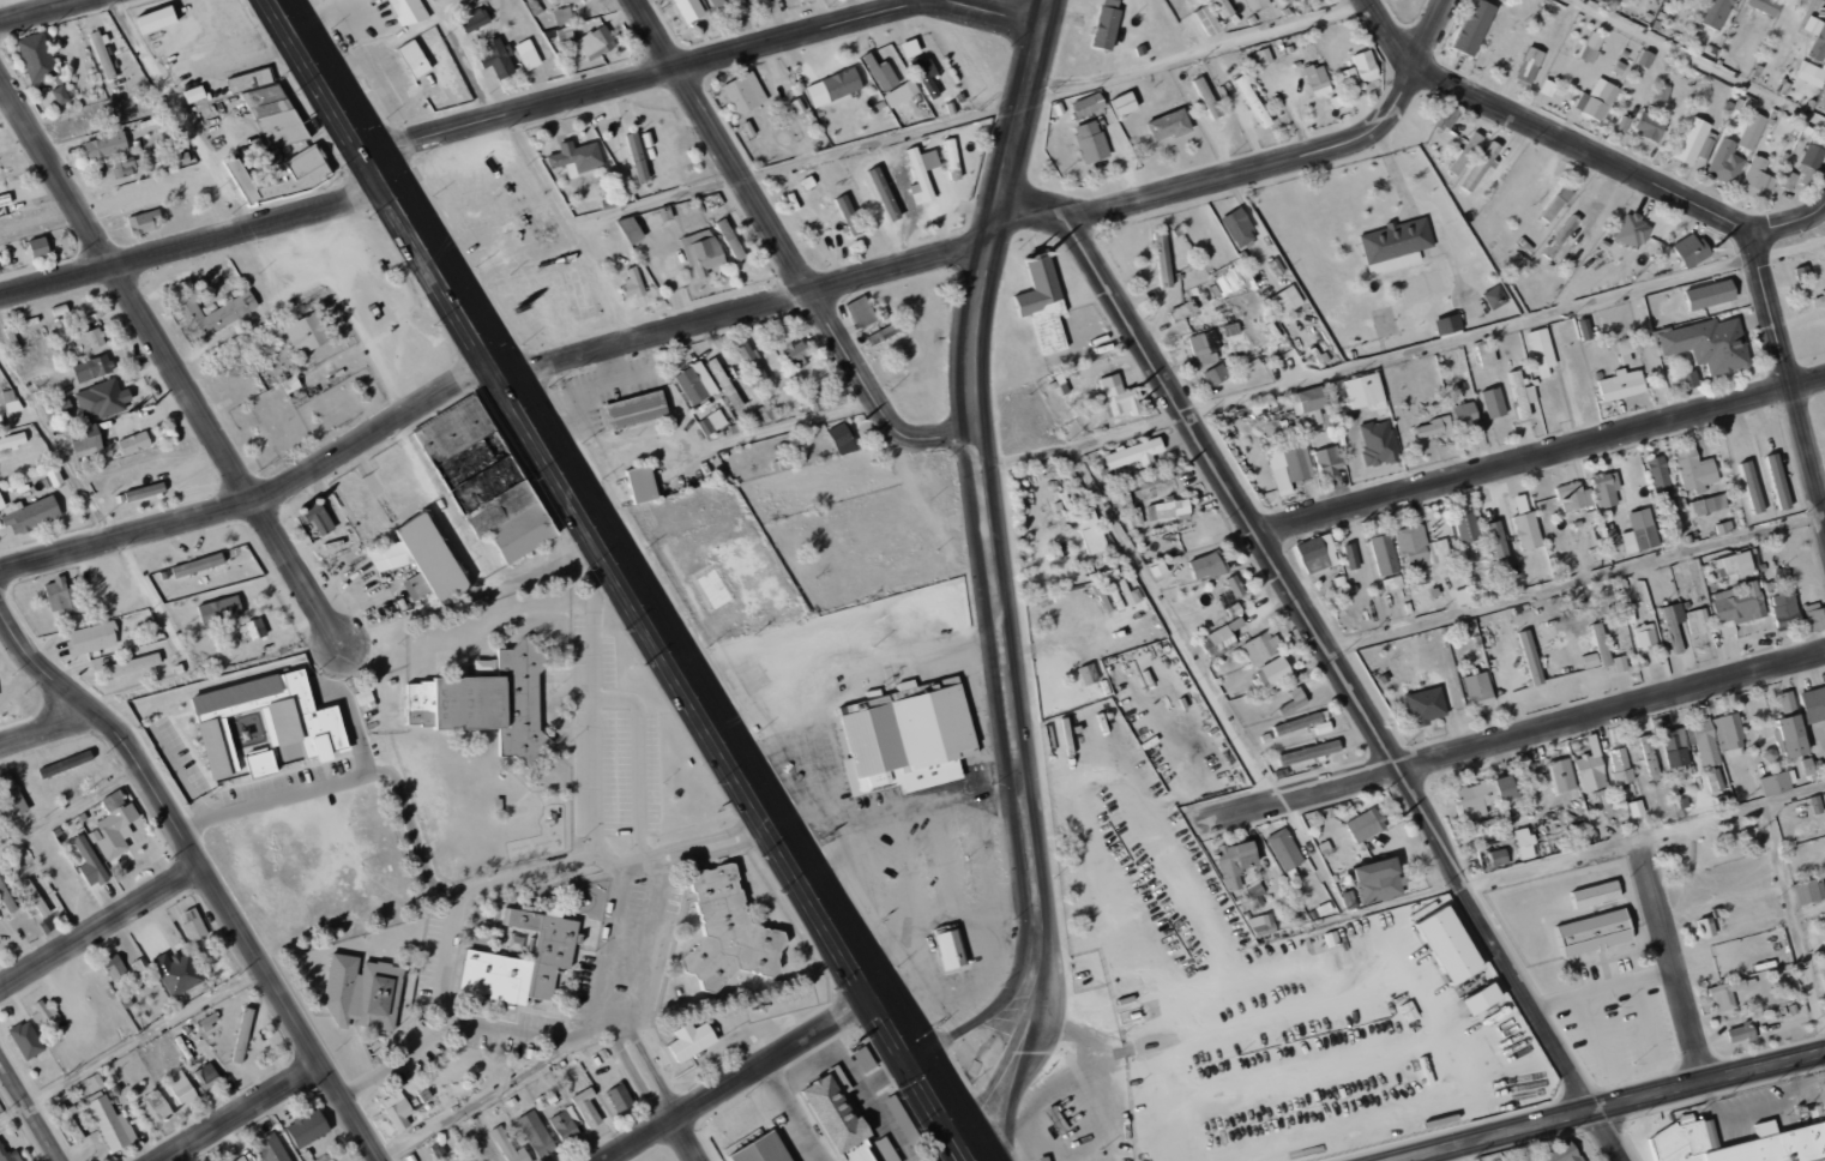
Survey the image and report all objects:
building: (751, 0)
building: (1697, 0)
building: (1257, 4)
building: (1765, 5)
building: (1222, 7)
road: (995, 8)
building: (687, 10)
road: (41, 11)
building: (405, 12)
building: (1715, 13)
building: (564, 16)
building: (156, 19)
building: (476, 19)
building: (1206, 19)
building: (1107, 26)
building: (1475, 26)
road: (1436, 32)
building: (565, 35)
building: (1817, 37)
building: (596, 42)
building: (1591, 47)
building: (910, 48)
building: (102, 54)
building: (1264, 55)
building: (37, 56)
building: (496, 58)
building: (414, 59)
building: (530, 59)
building: (1646, 59)
building: (1366, 65)
building: (1529, 66)
building: (881, 73)
building: (1811, 73)
road: (649, 76)
building: (926, 76)
building: (1348, 76)
building: (1318, 79)
building: (249, 80)
building: (833, 86)
building: (1548, 88)
building: (1662, 91)
building: (743, 92)
building: (901, 92)
building: (60, 95)
building: (1206, 97)
building: (1596, 100)
building: (1253, 101)
building: (1823, 101)
building: (1125, 102)
building: (1089, 103)
building: (275, 119)
building: (1168, 125)
building: (1649, 126)
building: (1751, 131)
building: (1090, 140)
building: (1693, 140)
building: (106, 145)
building: (1465, 152)
building: (1814, 152)
building: (637, 156)
building: (576, 157)
building: (179, 160)
building: (1724, 162)
building: (1482, 166)
building: (125, 167)
building: (920, 174)
building: (1757, 176)
road: (1229, 178)
building: (1789, 180)
building: (293, 184)
building: (139, 192)
building: (884, 192)
road: (1676, 195)
building: (5, 201)
building: (1556, 204)
building: (848, 213)
road: (1790, 221)
building: (145, 222)
building: (1239, 227)
building: (631, 228)
building: (1633, 230)
building: (1561, 236)
building: (730, 239)
road: (197, 243)
building: (1395, 245)
building: (38, 247)
building: (1693, 249)
building: (703, 252)
road: (784, 252)
building: (1163, 258)
building: (1801, 271)
building: (1228, 282)
building: (632, 283)
building: (1709, 294)
building: (1495, 296)
building: (1285, 300)
building: (1043, 302)
road: (749, 308)
building: (211, 311)
building: (861, 312)
building: (1186, 314)
building: (1384, 321)
building: (1447, 325)
building: (306, 331)
building: (883, 333)
building: (89, 339)
building: (1709, 343)
building: (1203, 348)
building: (1625, 349)
building: (1541, 350)
building: (1487, 353)
building: (797, 355)
road: (171, 361)
building: (752, 363)
building: (92, 367)
building: (1216, 374)
building: (693, 381)
building: (724, 383)
building: (1622, 384)
building: (1366, 390)
building: (1523, 393)
building: (1120, 396)
building: (10, 399)
building: (101, 399)
building: (1494, 402)
building: (64, 404)
building: (1309, 405)
building: (634, 410)
building: (1465, 414)
building: (712, 422)
building: (1434, 426)
building: (843, 438)
building: (12, 440)
building: (86, 440)
building: (134, 441)
building: (1378, 443)
building: (1134, 452)
road: (1541, 455)
building: (1327, 461)
building: (1288, 468)
building: (1693, 469)
road: (983, 473)
building: (1657, 474)
building: (1155, 477)
building: (486, 480)
building: (1778, 480)
building: (642, 483)
building: (1751, 486)
building: (1606, 488)
building: (145, 491)
building: (1574, 495)
road: (580, 498)
road: (263, 499)
building: (1520, 504)
building: (1707, 504)
building: (1169, 509)
building: (30, 513)
building: (318, 518)
building: (1133, 521)
building: (1466, 527)
building: (1090, 530)
building: (1526, 530)
building: (1639, 531)
building: (1420, 547)
building: (1499, 549)
building: (1317, 553)
building: (1384, 553)
building: (1350, 555)
building: (421, 559)
building: (198, 564)
building: (1733, 564)
building: (1207, 565)
building: (1781, 575)
building: (1235, 584)
building: (711, 590)
building: (64, 595)
building: (1737, 606)
building: (219, 609)
building: (1796, 612)
building: (1698, 620)
building: (1674, 626)
building: (255, 627)
building: (1645, 634)
building: (1225, 636)
building: (91, 637)
building: (1601, 643)
building: (1260, 646)
building: (1531, 656)
building: (132, 664)
building: (1273, 672)
building: (1086, 674)
road: (1350, 684)
building: (1478, 690)
building: (489, 700)
road: (626, 700)
building: (1294, 700)
building: (1813, 704)
building: (1426, 705)
building: (1297, 723)
building: (265, 724)
building: (1323, 727)
building: (1790, 728)
road: (47, 729)
building: (1728, 734)
building: (908, 736)
road: (1518, 736)
building: (1705, 741)
building: (1674, 748)
building: (1309, 752)
building: (1649, 756)
building: (65, 764)
building: (1619, 765)
building: (1559, 769)
building: (1590, 771)
building: (1713, 780)
building: (1777, 783)
road: (308, 789)
building: (12, 795)
building: (1484, 795)
building: (1815, 804)
building: (1619, 805)
road: (71, 810)
building: (115, 823)
building: (1365, 824)
road: (1646, 834)
building: (1524, 842)
building: (1284, 849)
building: (1498, 856)
road: (615, 860)
building: (89, 862)
road: (655, 862)
building: (1235, 862)
road: (203, 872)
building: (1379, 879)
building: (1809, 891)
building: (1255, 892)
road: (462, 895)
building: (6, 897)
building: (35, 897)
building: (1349, 900)
road: (97, 924)
building: (193, 924)
building: (1261, 925)
building: (1706, 926)
road: (615, 931)
building: (1821, 931)
building: (728, 932)
building: (1595, 932)
building: (1450, 945)
building: (950, 949)
building: (523, 958)
road: (1672, 961)
building: (114, 967)
building: (177, 971)
building: (363, 993)
building: (1725, 994)
building: (1482, 998)
building: (1824, 1001)
road: (986, 1015)
building: (209, 1022)
building: (1740, 1033)
building: (26, 1039)
building: (692, 1040)
road: (131, 1043)
road: (1019, 1051)
traffic signals: (918, 1060)
building: (205, 1073)
road: (745, 1078)
road: (930, 1078)
road: (655, 1085)
building: (180, 1090)
building: (619, 1097)
building: (586, 1107)
road: (1615, 1107)
building: (152, 1108)
road: (1757, 1109)
building: (397, 1111)
road: (239, 1112)
road: (793, 1113)
road: (22, 1118)
building: (740, 1119)
building: (839, 1121)
building: (112, 1124)
building: (565, 1125)
building: (308, 1126)
building: (536, 1133)
building: (1739, 1143)
traffic signals: (972, 1144)
building: (510, 1147)
building: (272, 1149)
building: (438, 1150)
building: (763, 1150)
building: (1561, 1153)
building: (8, 1155)
building: (240, 1159)
road: (373, 1159)
building: (1044, 1159)
building: (469, 1160)

